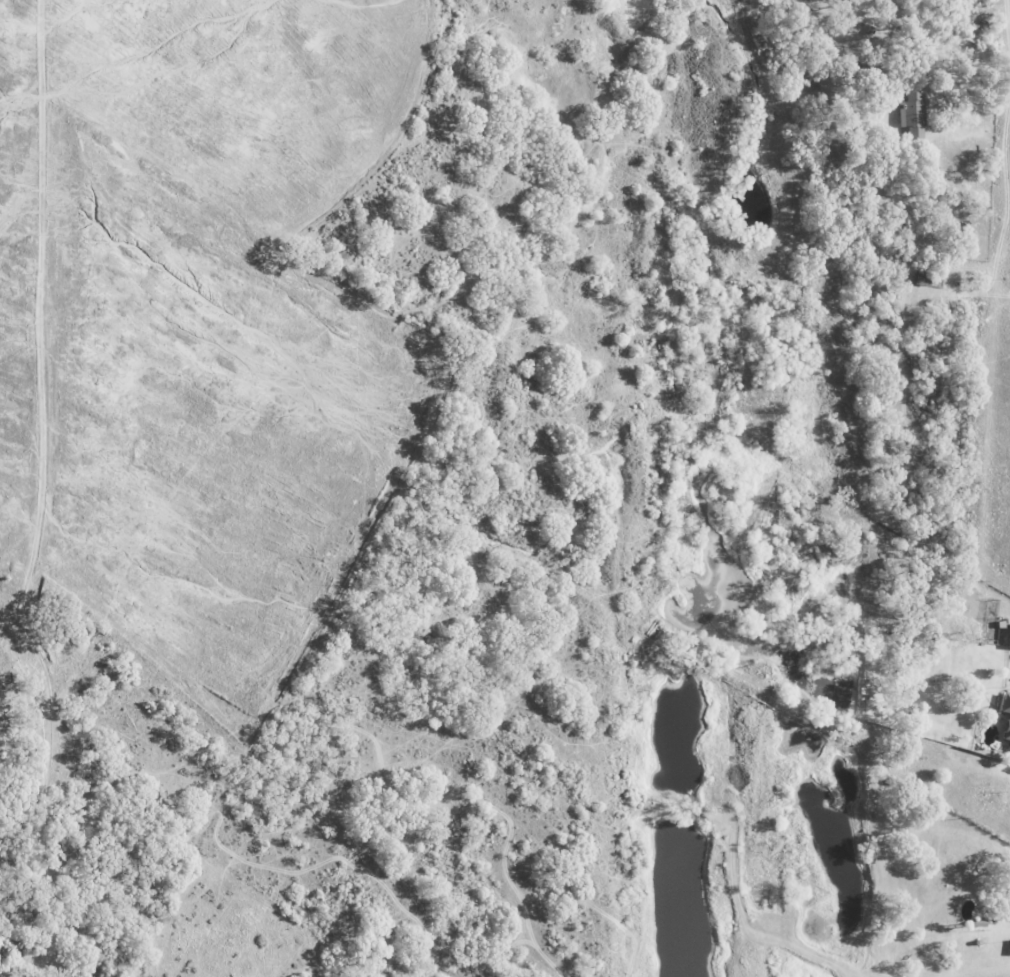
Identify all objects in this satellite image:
road: (894, 6)
building: (1008, 637)
building: (1008, 719)
building: (1009, 948)

